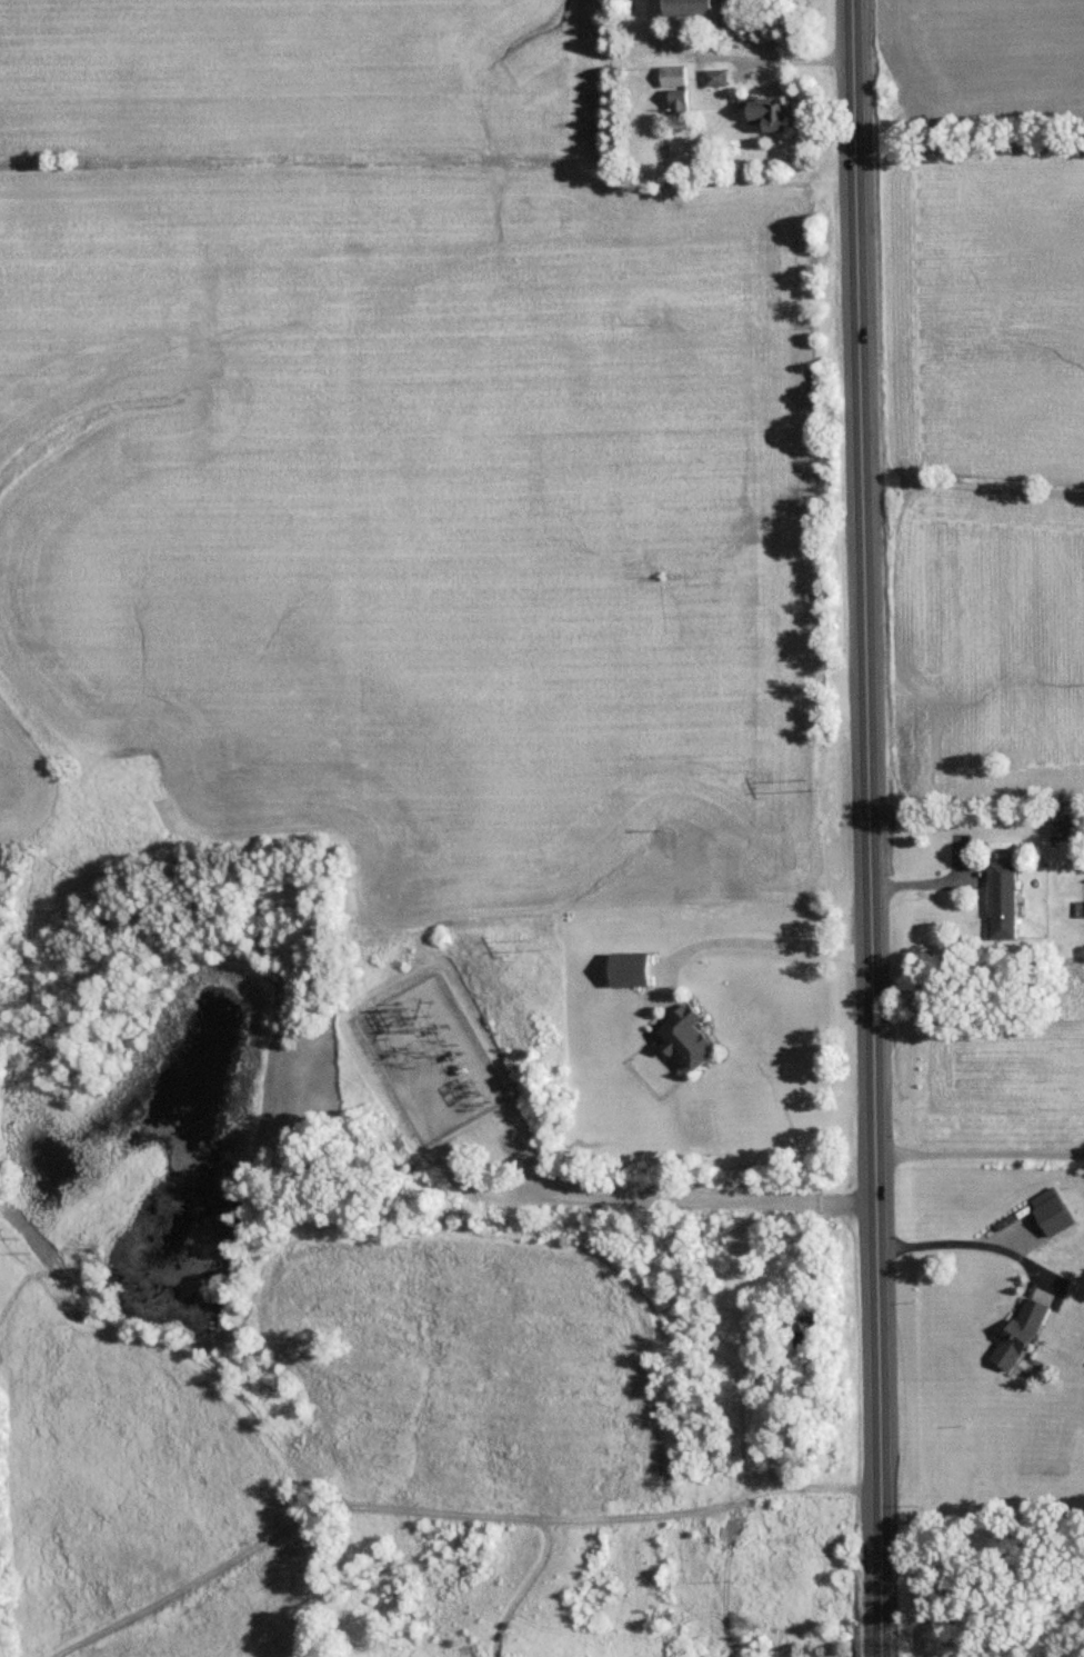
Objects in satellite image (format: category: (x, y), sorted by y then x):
building: (693, 7)
road: (801, 62)
building: (673, 74)
building: (715, 76)
building: (772, 112)
power tower: (824, 786)
building: (1067, 822)
road: (869, 828)
road: (932, 877)
building: (1003, 899)
power tower: (542, 941)
road: (766, 945)
building: (630, 968)
building: (686, 1037)
power substation: (430, 1059)
road: (978, 1165)
road: (660, 1199)
building: (1051, 1210)
power tower: (19, 1235)
road: (962, 1247)
building: (814, 1321)
building: (1018, 1332)

